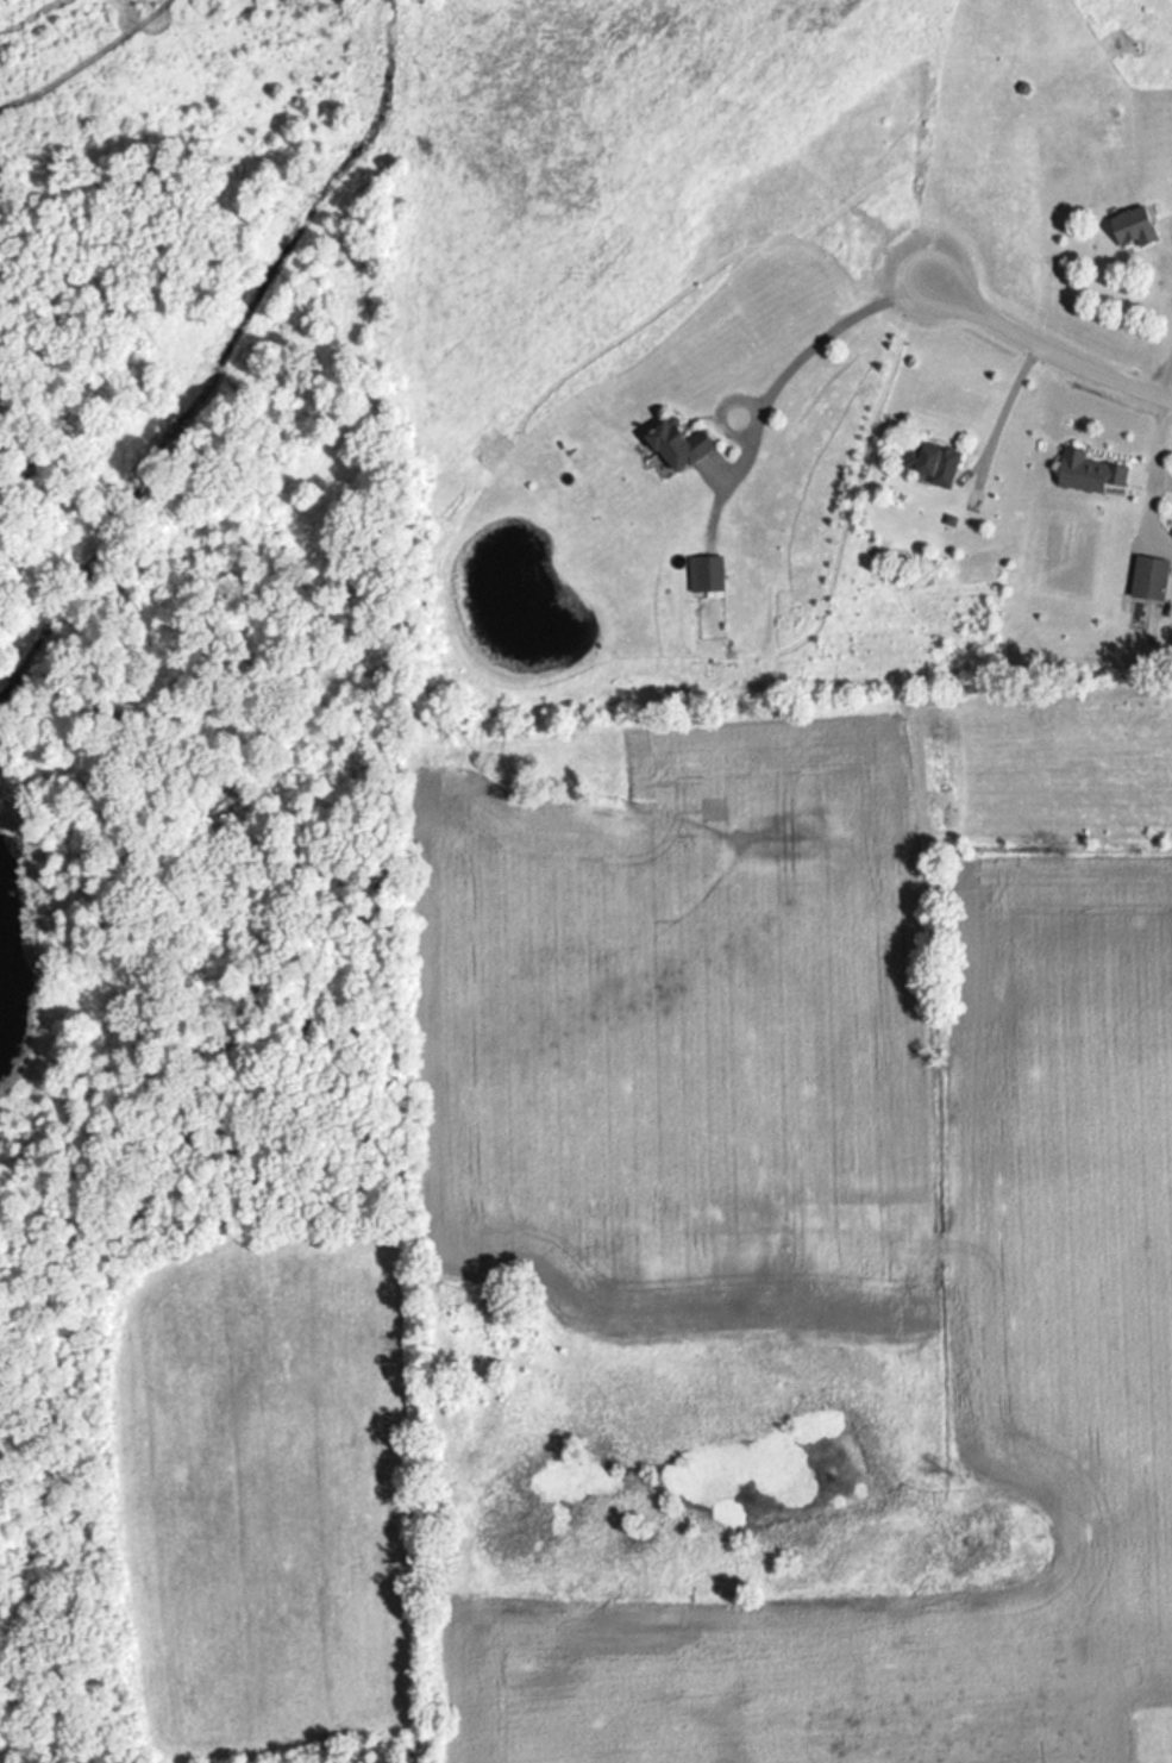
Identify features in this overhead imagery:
building: (1137, 229)
road: (1060, 342)
road: (811, 351)
road: (1170, 385)
road: (1017, 402)
building: (682, 446)
building: (935, 465)
building: (1092, 475)
building: (709, 575)
building: (1152, 580)

